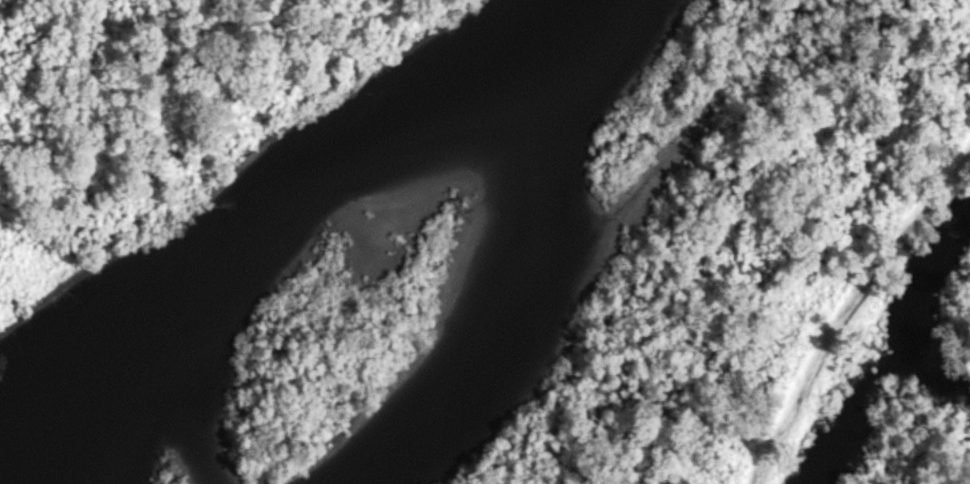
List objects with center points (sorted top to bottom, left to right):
road: (839, 303)

